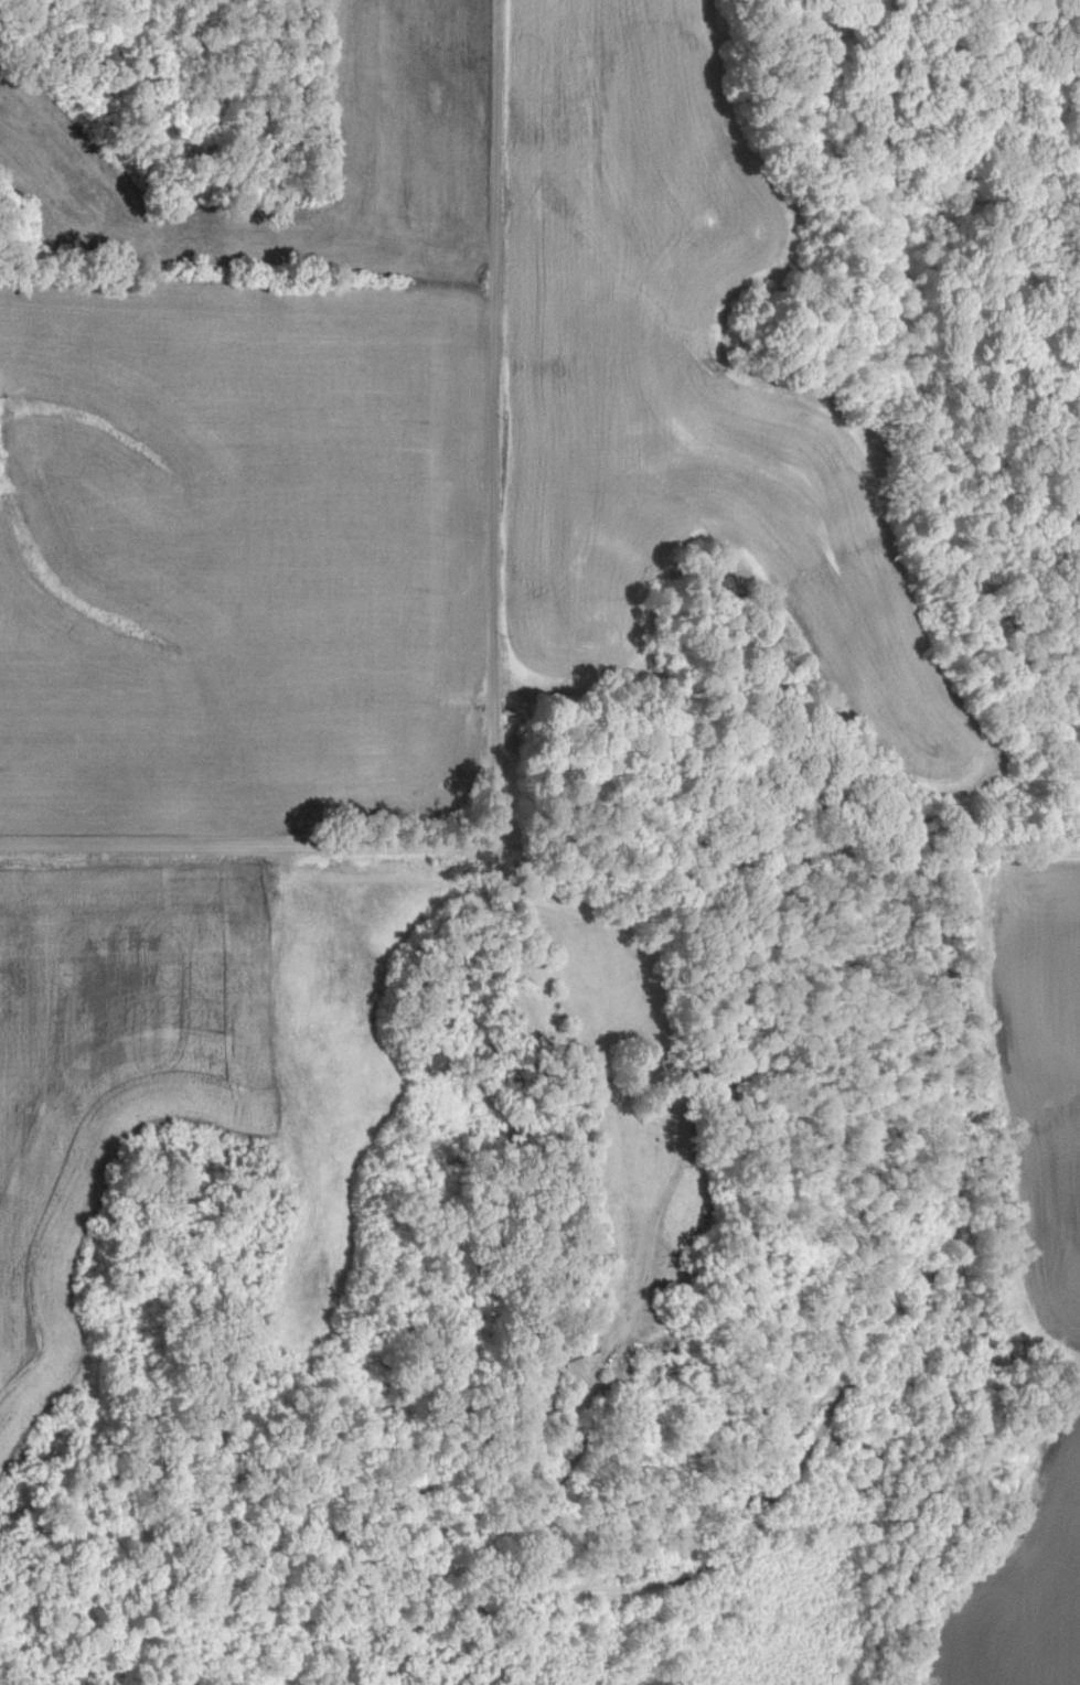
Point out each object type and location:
road: (491, 425)
building: (156, 794)
road: (539, 850)
road: (684, 1086)
building: (729, 1092)
building: (549, 1391)

